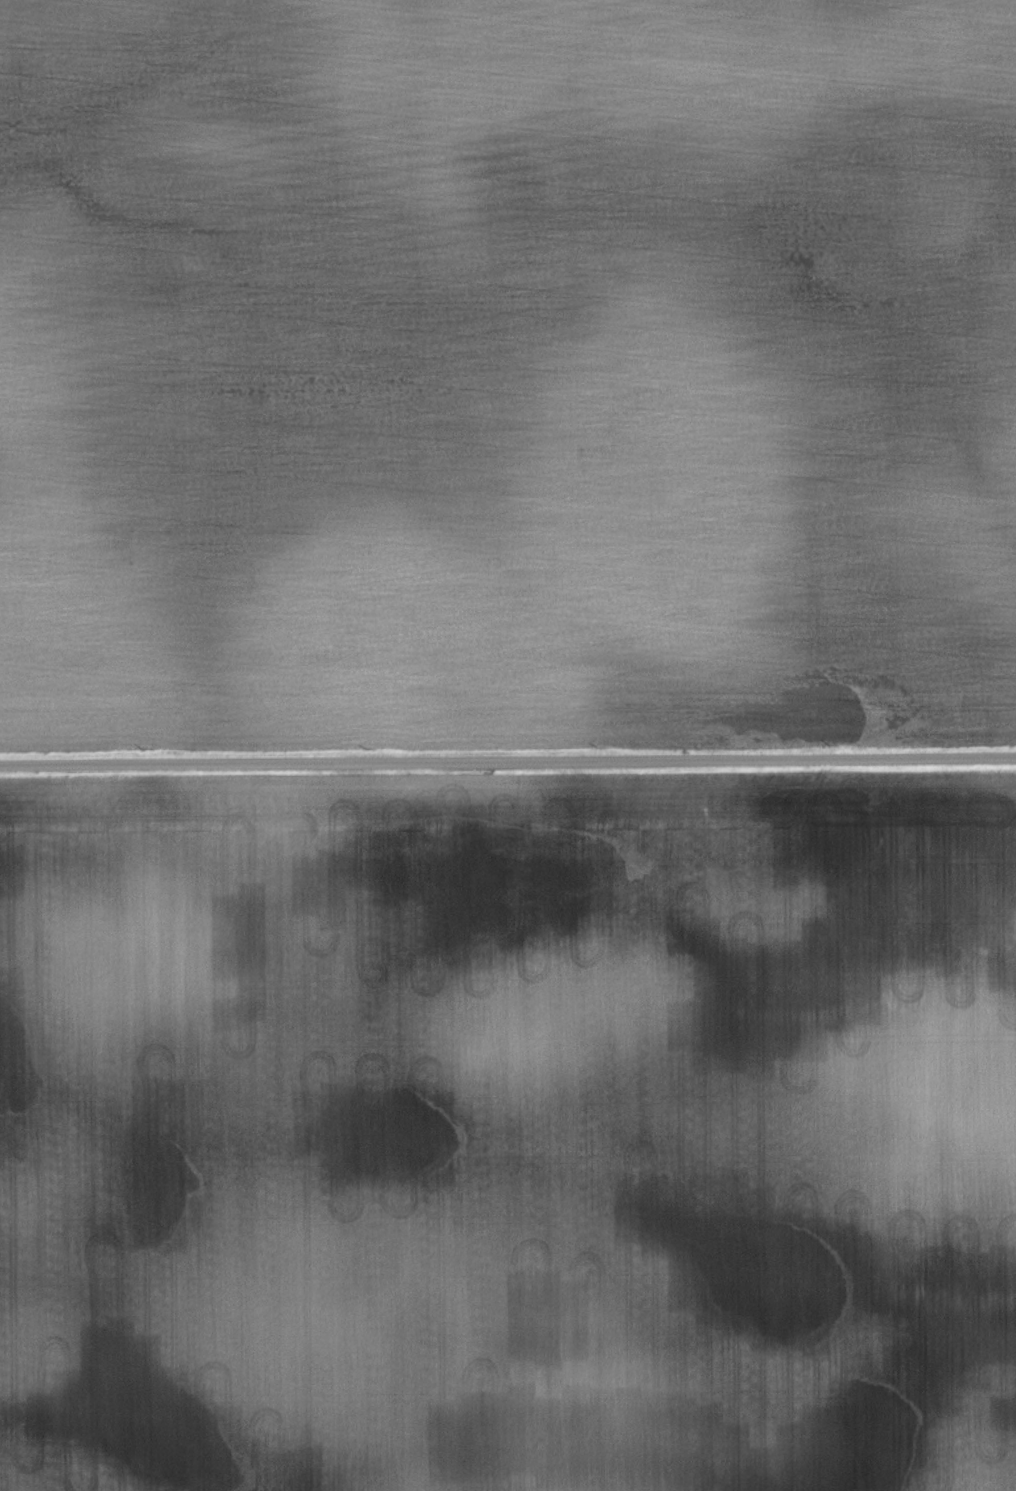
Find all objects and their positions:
road: (508, 764)

